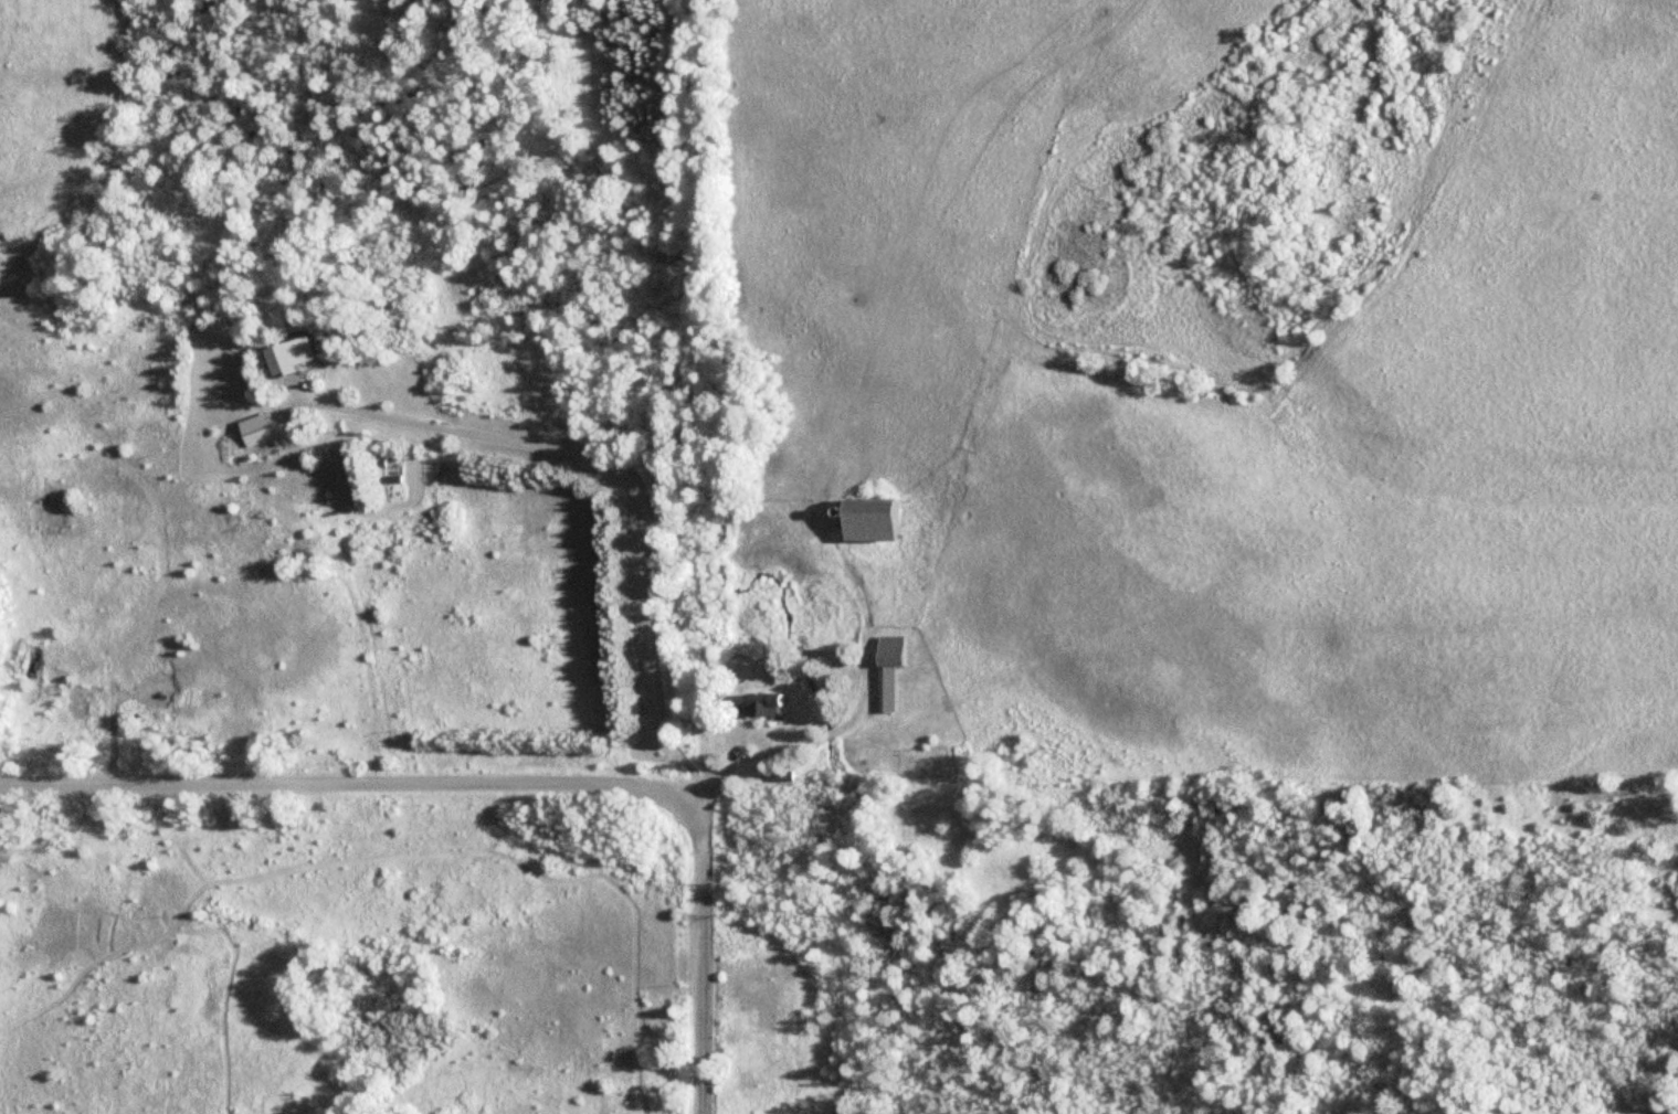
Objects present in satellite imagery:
building: (286, 353)
building: (276, 428)
road: (621, 474)
building: (867, 520)
building: (890, 666)
road: (865, 677)
building: (764, 703)
building: (915, 755)
road: (341, 782)
road: (701, 954)

